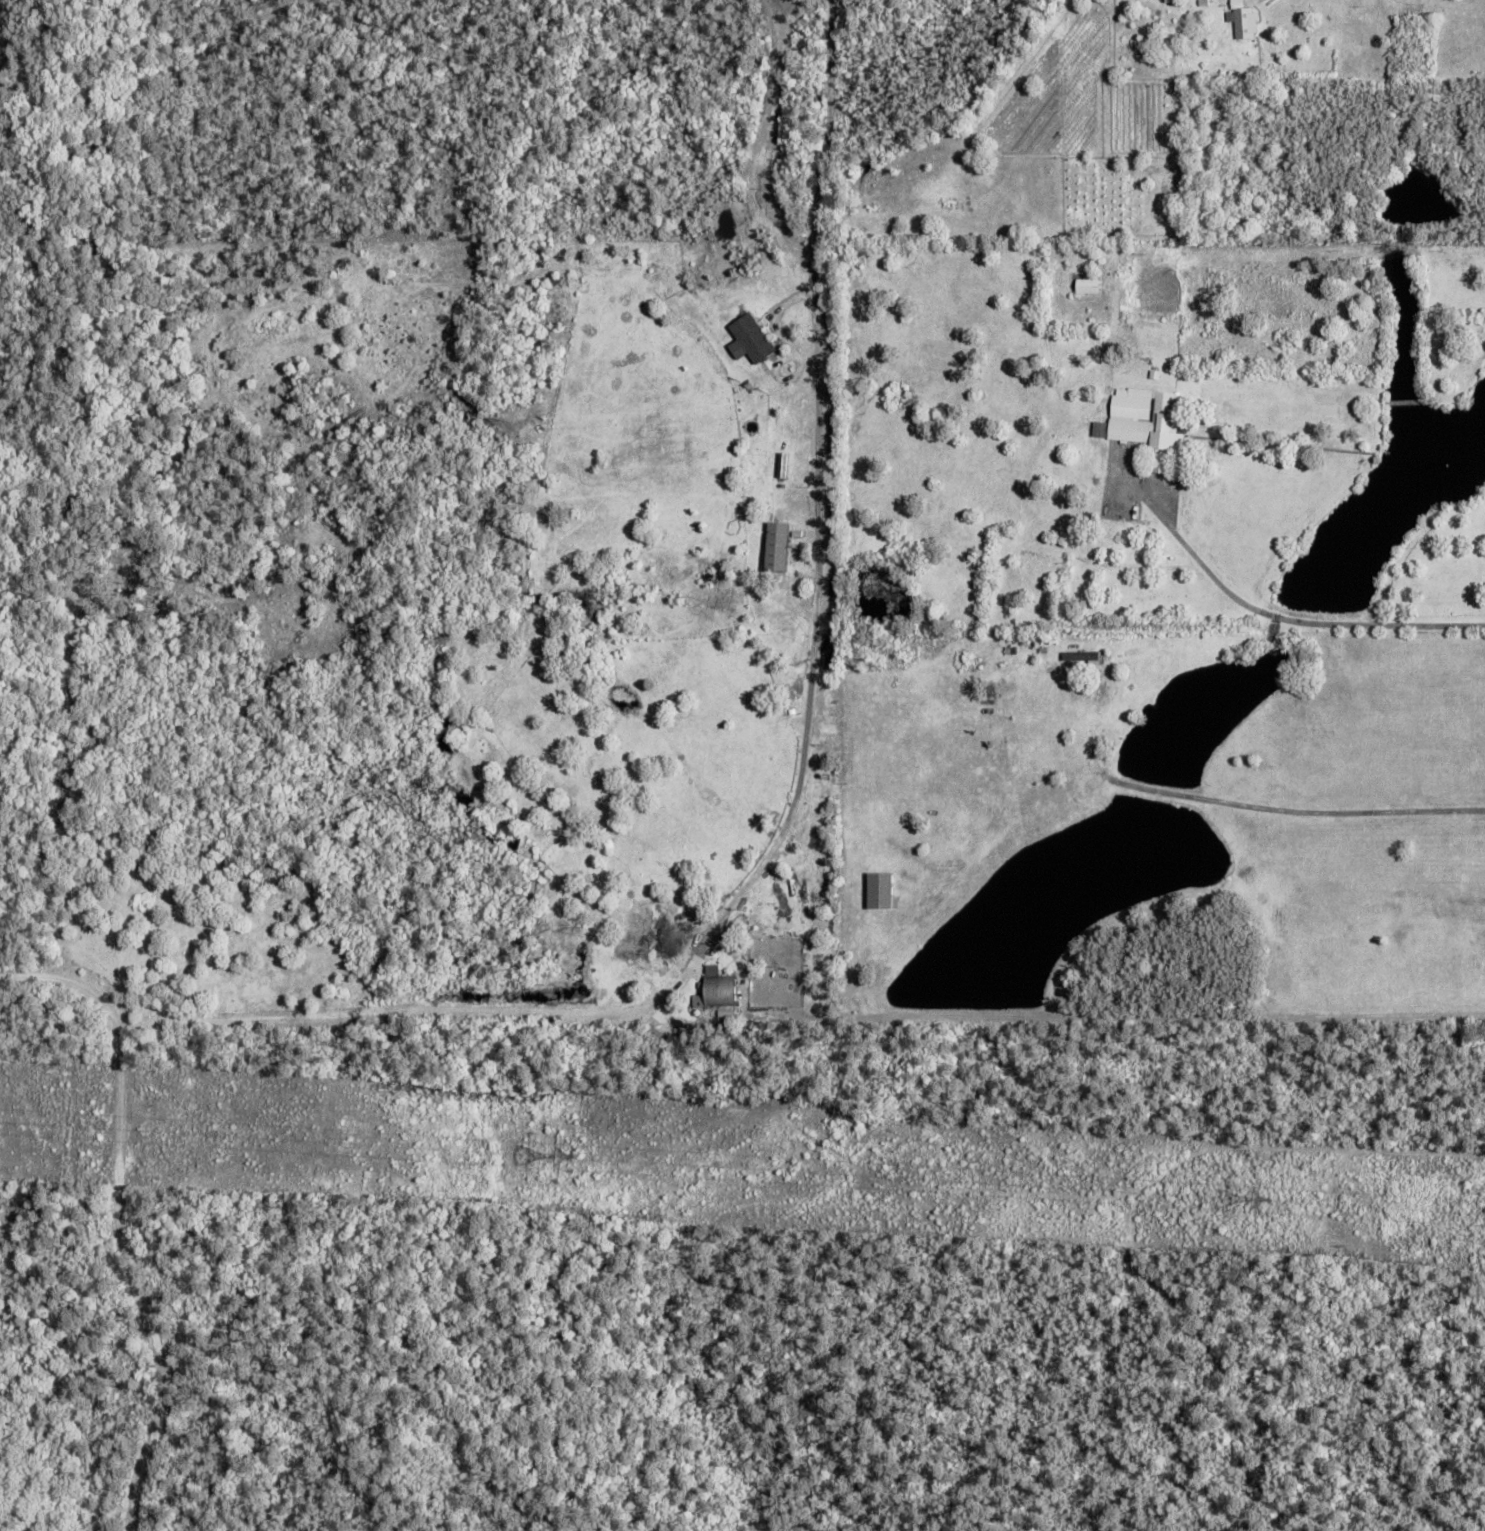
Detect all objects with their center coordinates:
building: (1204, 3)
building: (1243, 20)
road: (824, 133)
building: (1089, 286)
building: (750, 339)
building: (1156, 375)
building: (1147, 425)
building: (784, 465)
building: (781, 546)
road: (1269, 614)
building: (1083, 656)
building: (880, 891)
building: (690, 938)
road: (687, 957)
building: (718, 987)
power tower: (584, 1158)
power tower: (573, 1165)
power tower: (1268, 1201)
power tower: (1263, 1208)

